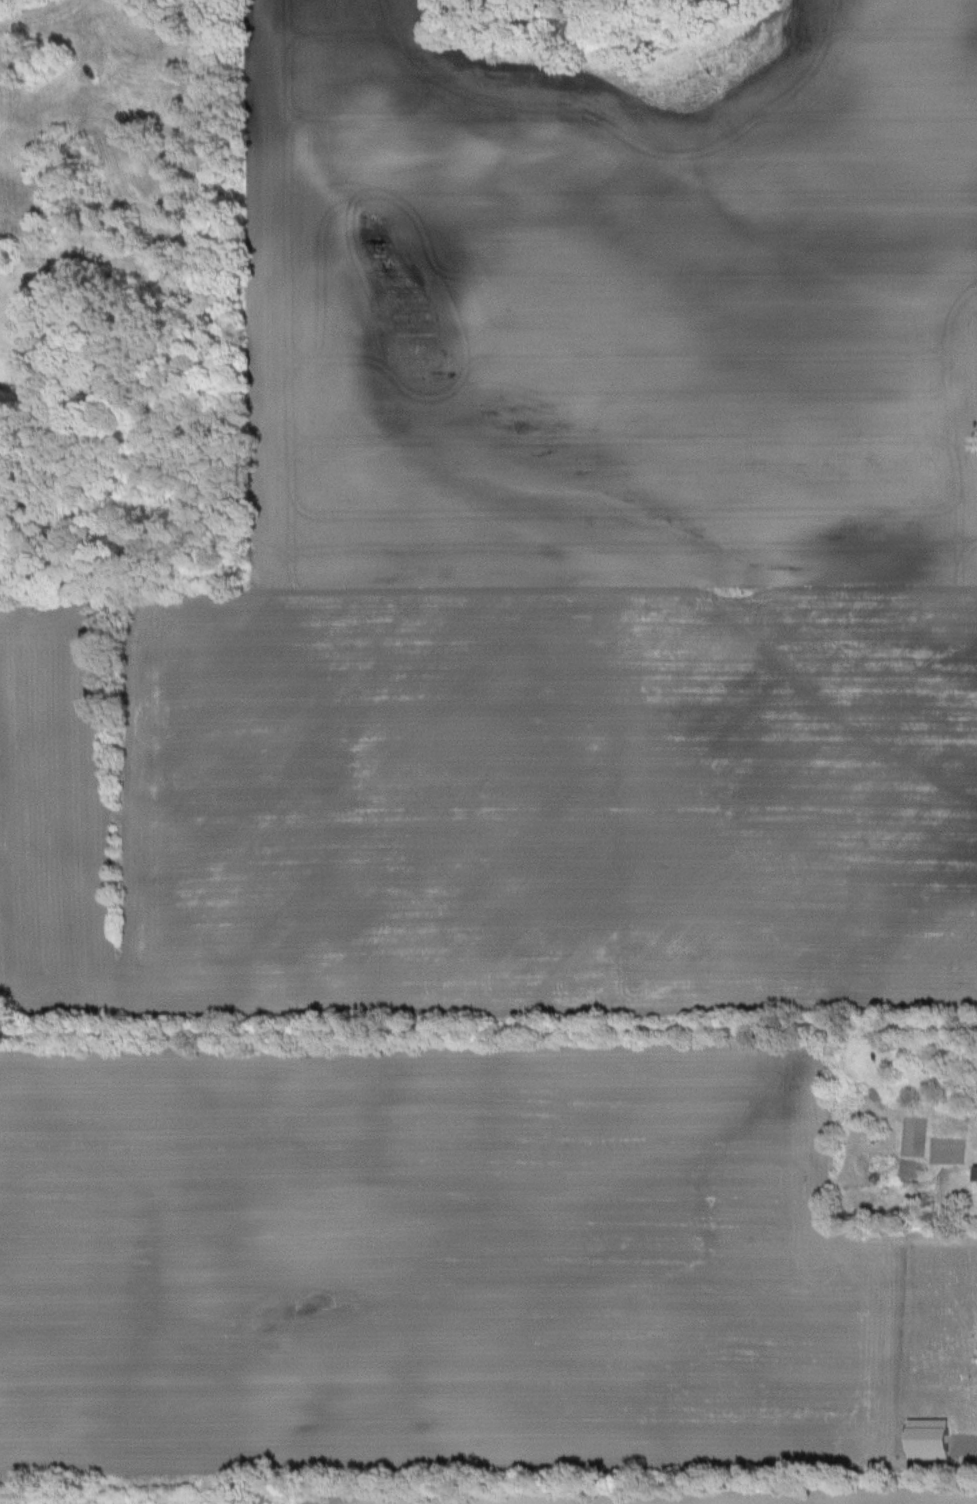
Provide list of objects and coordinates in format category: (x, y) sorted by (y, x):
building: (975, 1088)
building: (976, 1185)

